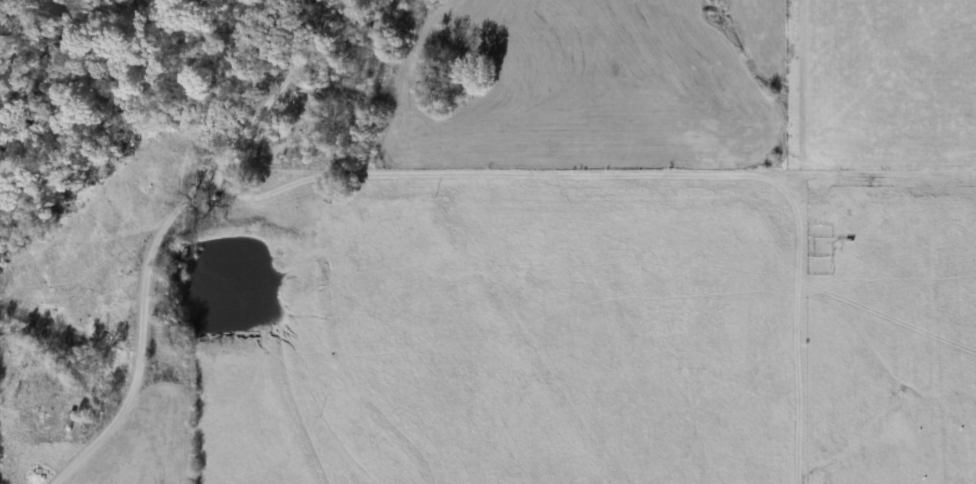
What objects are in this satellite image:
road: (164, 228)

